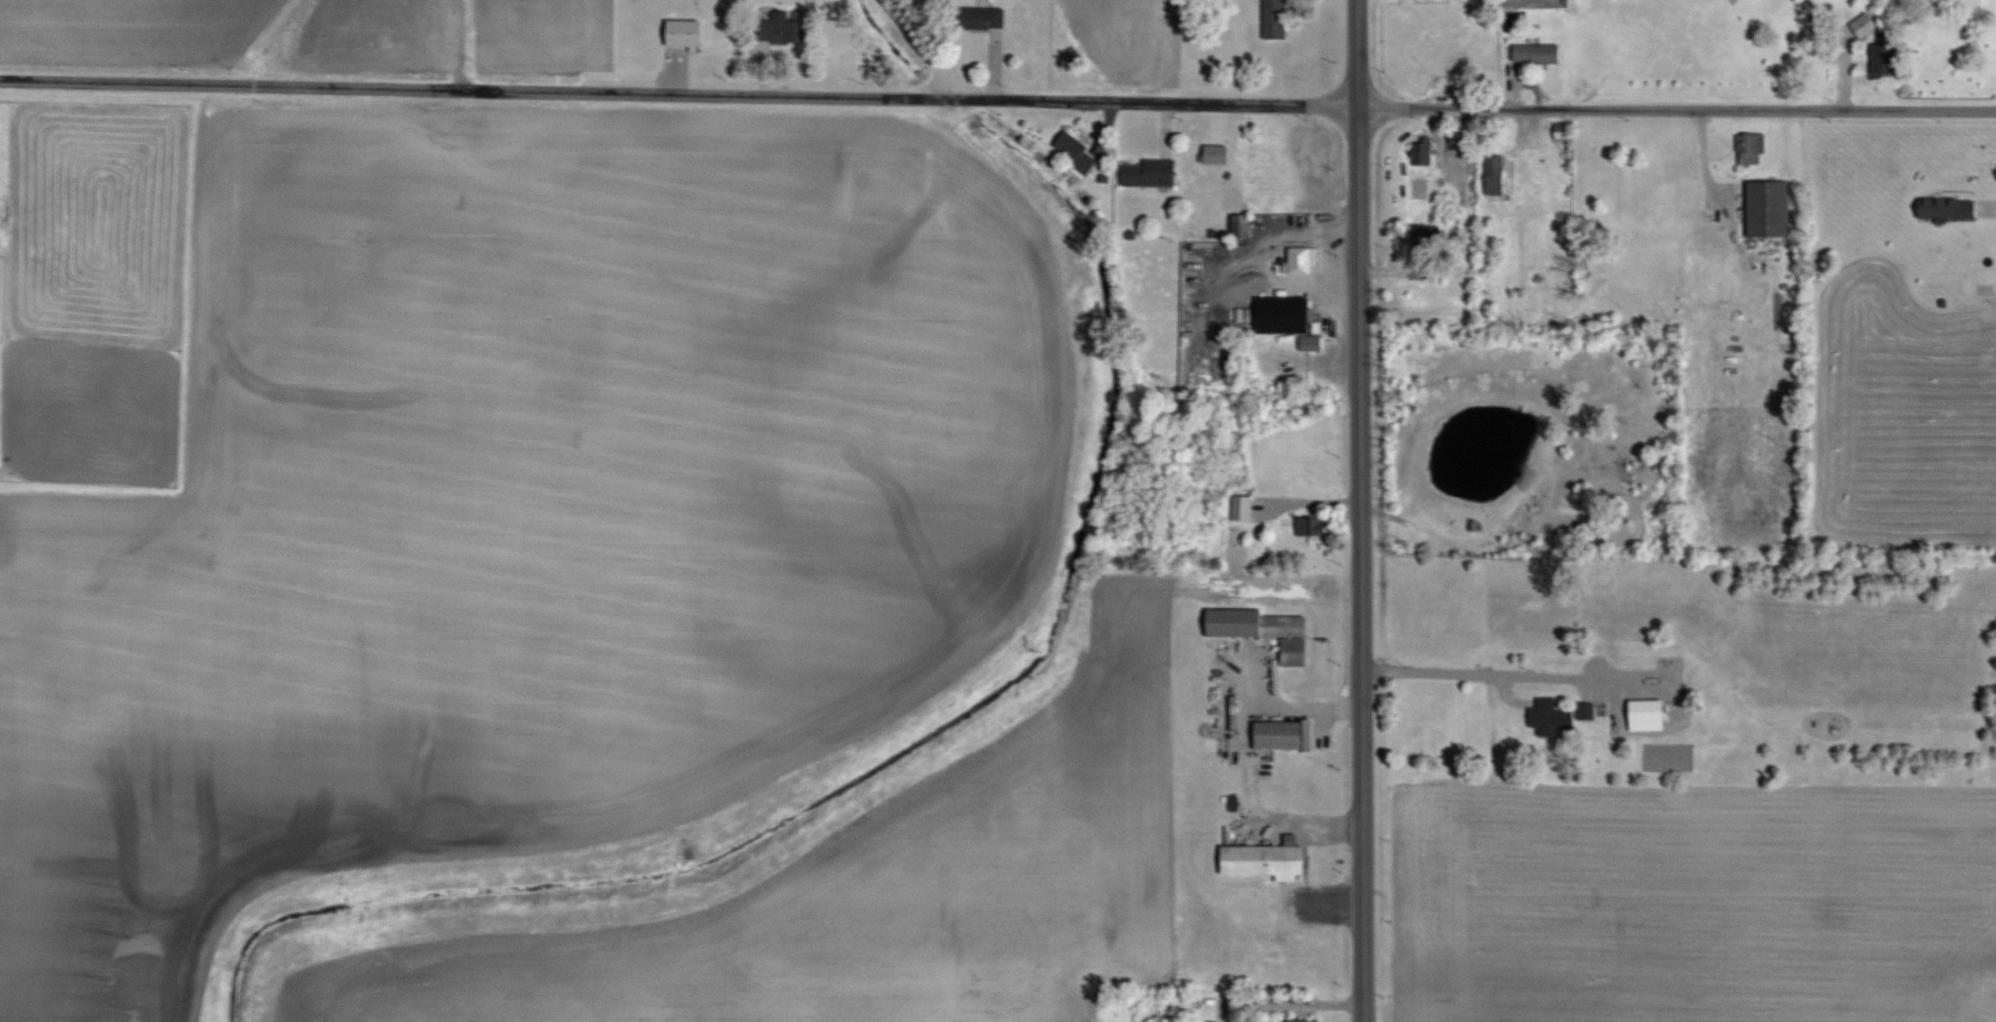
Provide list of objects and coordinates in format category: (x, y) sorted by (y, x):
building: (986, 17)
building: (1277, 19)
building: (1863, 23)
building: (786, 27)
building: (686, 34)
building: (1533, 53)
building: (1882, 58)
road: (676, 94)
road: (1674, 112)
building: (1560, 136)
building: (1749, 147)
building: (1071, 151)
building: (1420, 151)
building: (1145, 173)
building: (1492, 175)
building: (1766, 208)
building: (1943, 208)
building: (1425, 240)
building: (1296, 260)
building: (1278, 316)
building: (1239, 508)
road: (1358, 510)
building: (1308, 526)
building: (1248, 624)
road: (1481, 677)
building: (1642, 716)
building: (1547, 718)
building: (1273, 735)
building: (1260, 860)
road: (1297, 1001)
building: (1298, 1020)
building: (1210, 1021)

